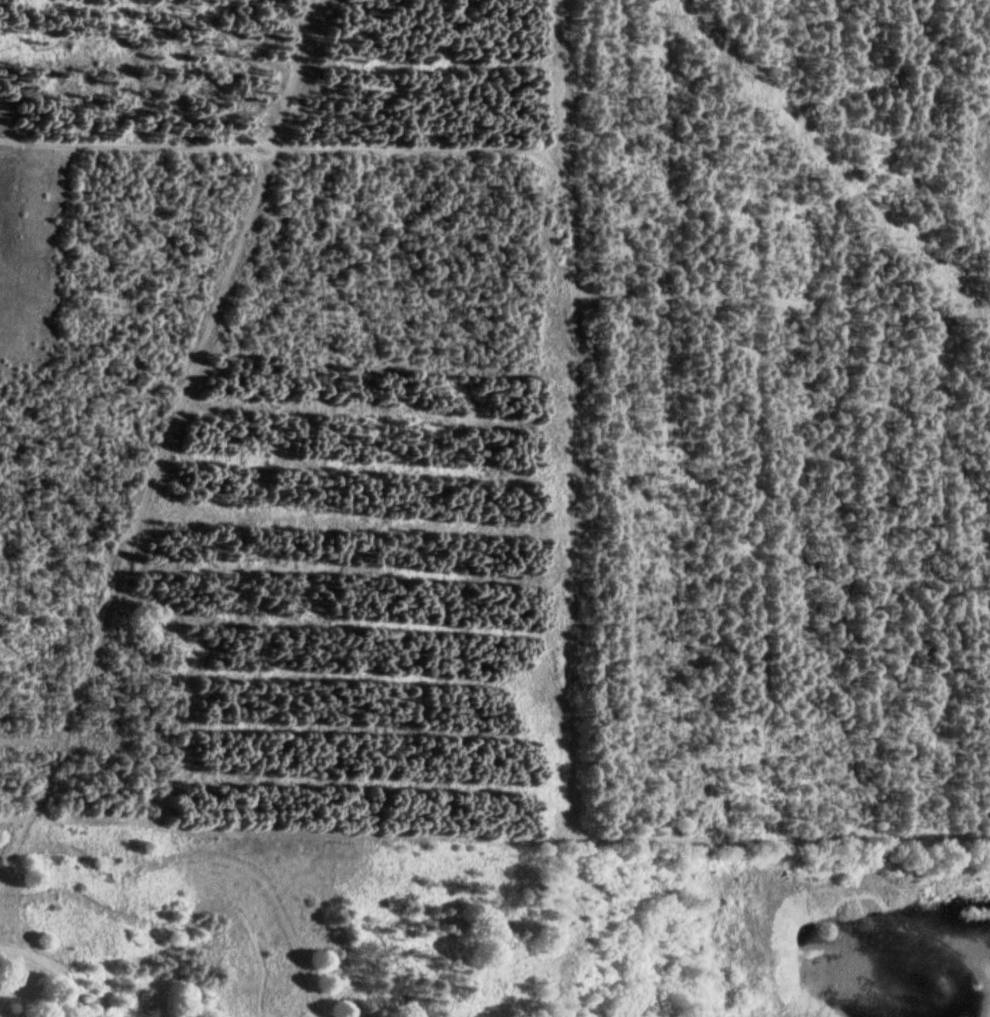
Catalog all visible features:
quarry: (857, 934)

